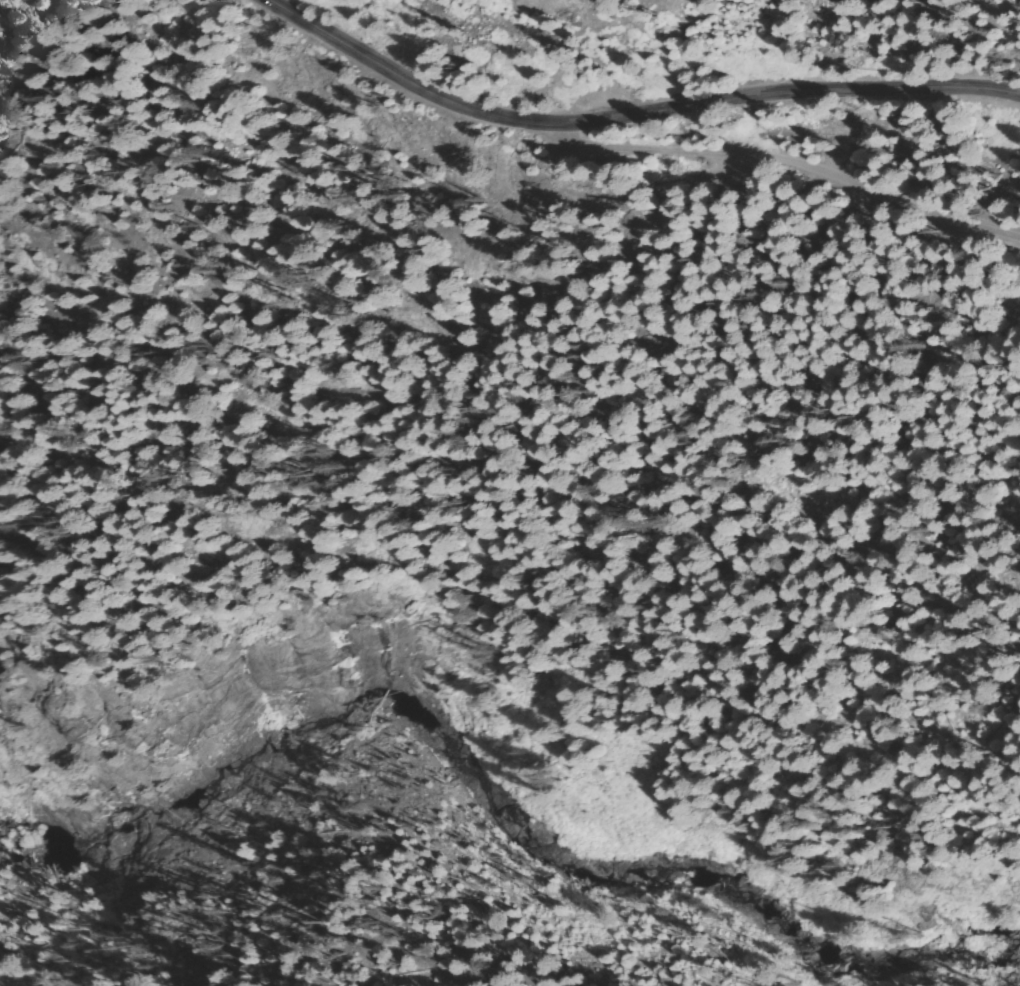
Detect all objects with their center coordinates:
road: (965, 90)
road: (589, 112)
road: (787, 160)

